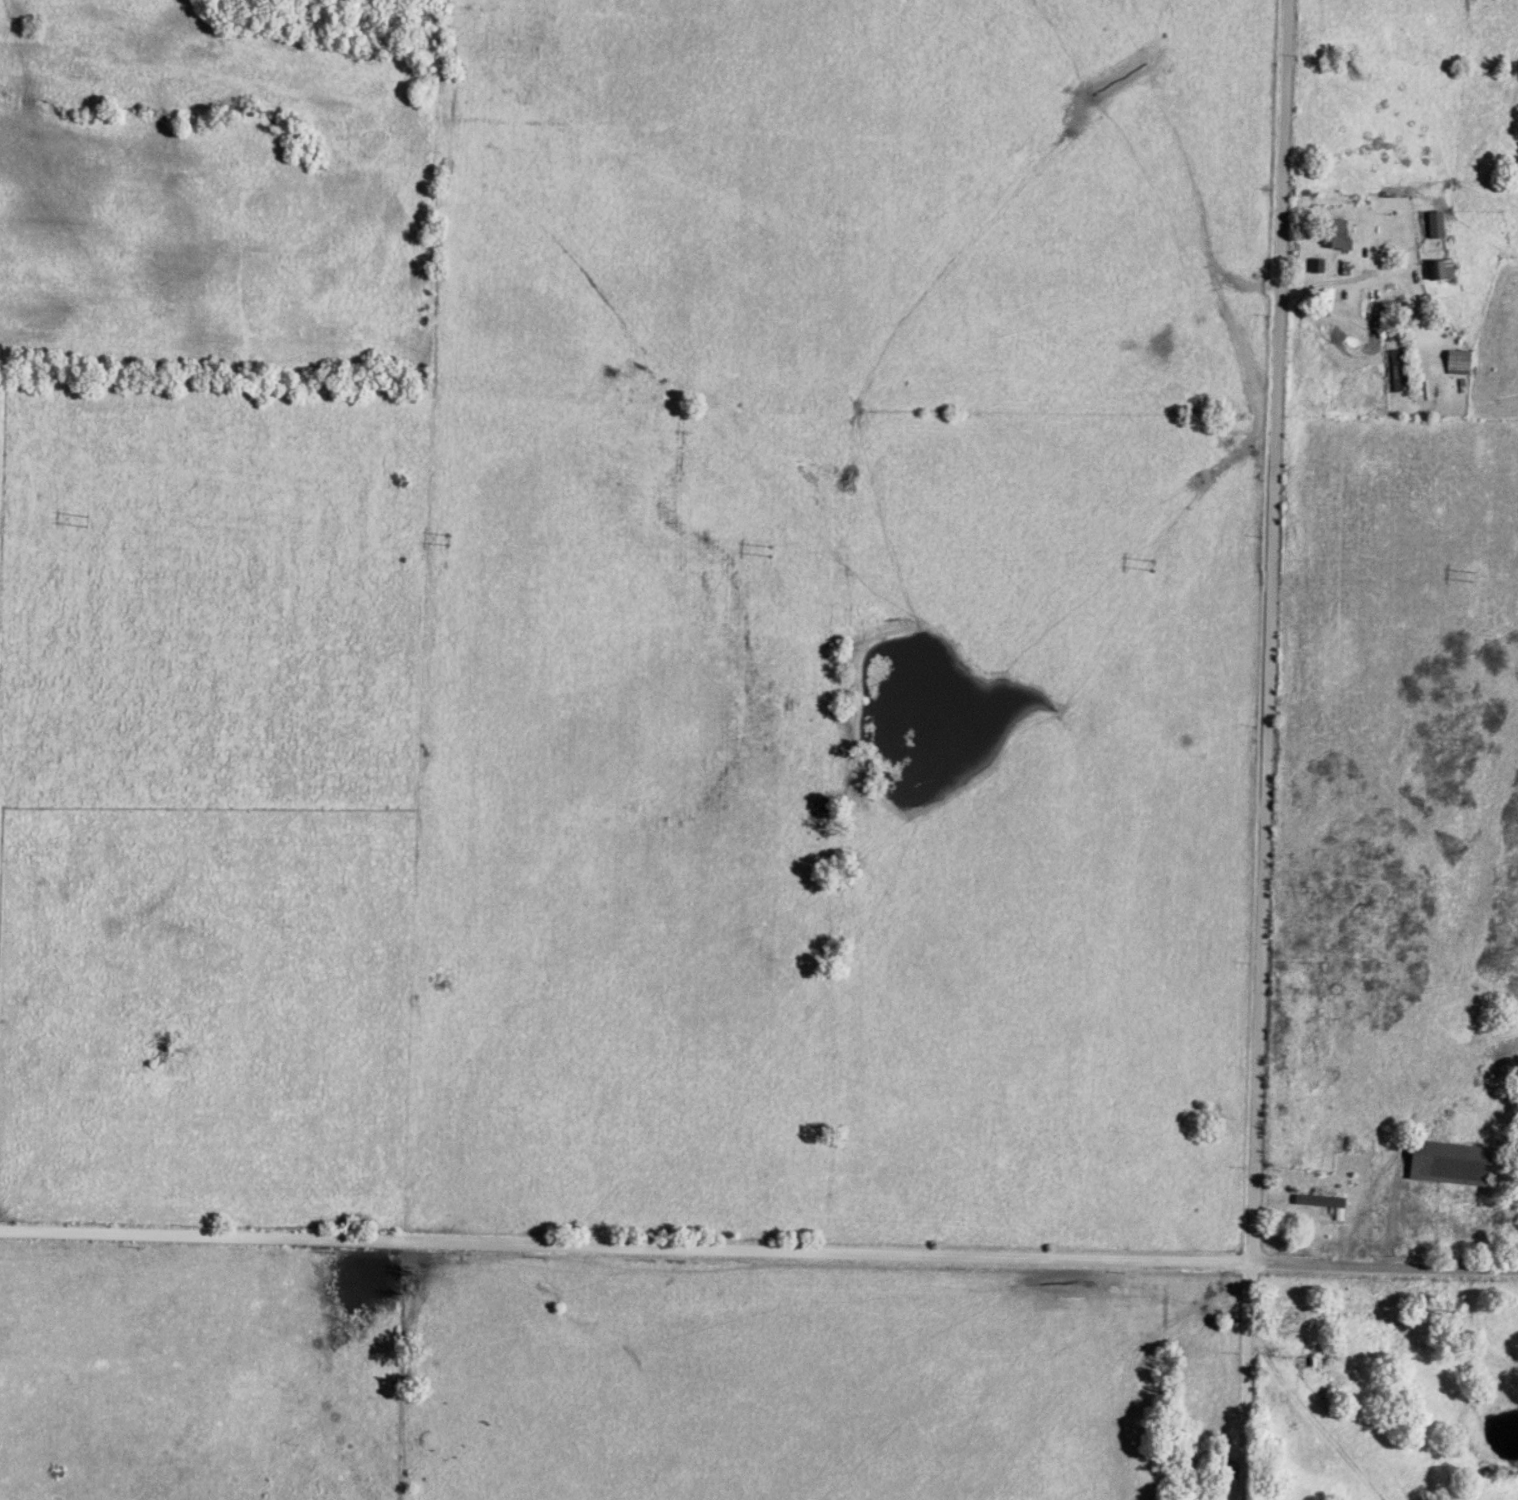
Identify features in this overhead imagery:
building: (1436, 221)
building: (1336, 231)
power tower: (88, 524)
power tower: (444, 543)
power tower: (769, 552)
power tower: (1151, 567)
power tower: (1470, 578)
road: (1269, 630)
building: (1450, 1160)
building: (1324, 1200)
road: (758, 1249)
road: (1246, 1379)

